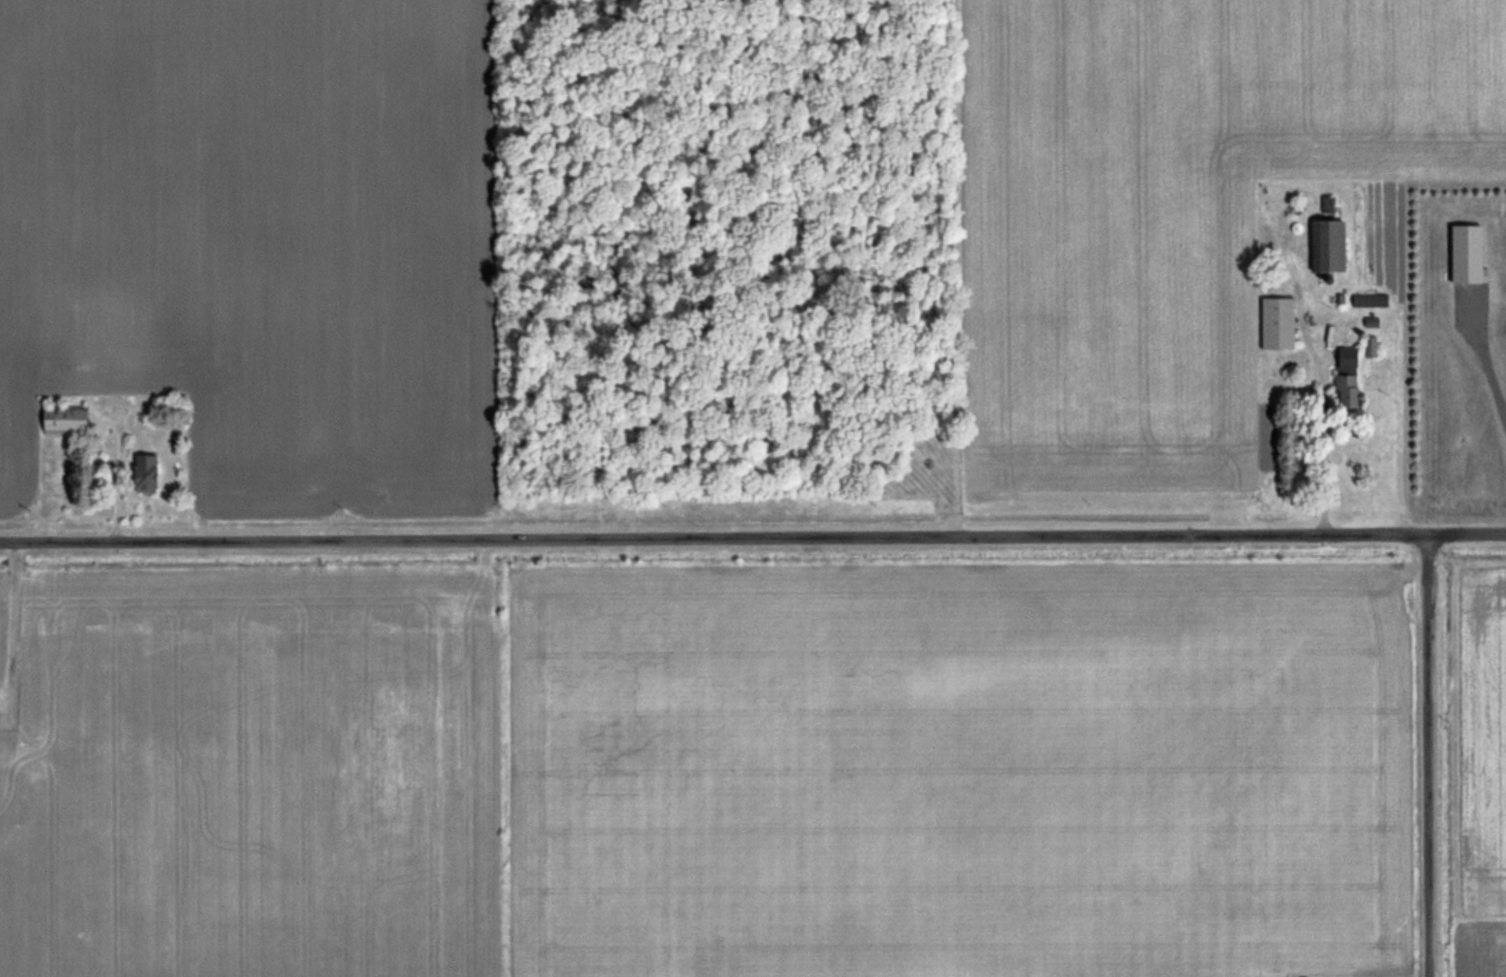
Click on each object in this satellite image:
building: (1323, 247)
building: (1275, 323)
building: (1369, 347)
road: (1485, 357)
building: (1342, 379)
building: (58, 419)
road: (119, 468)
building: (140, 473)
road: (753, 538)
road: (1428, 755)

